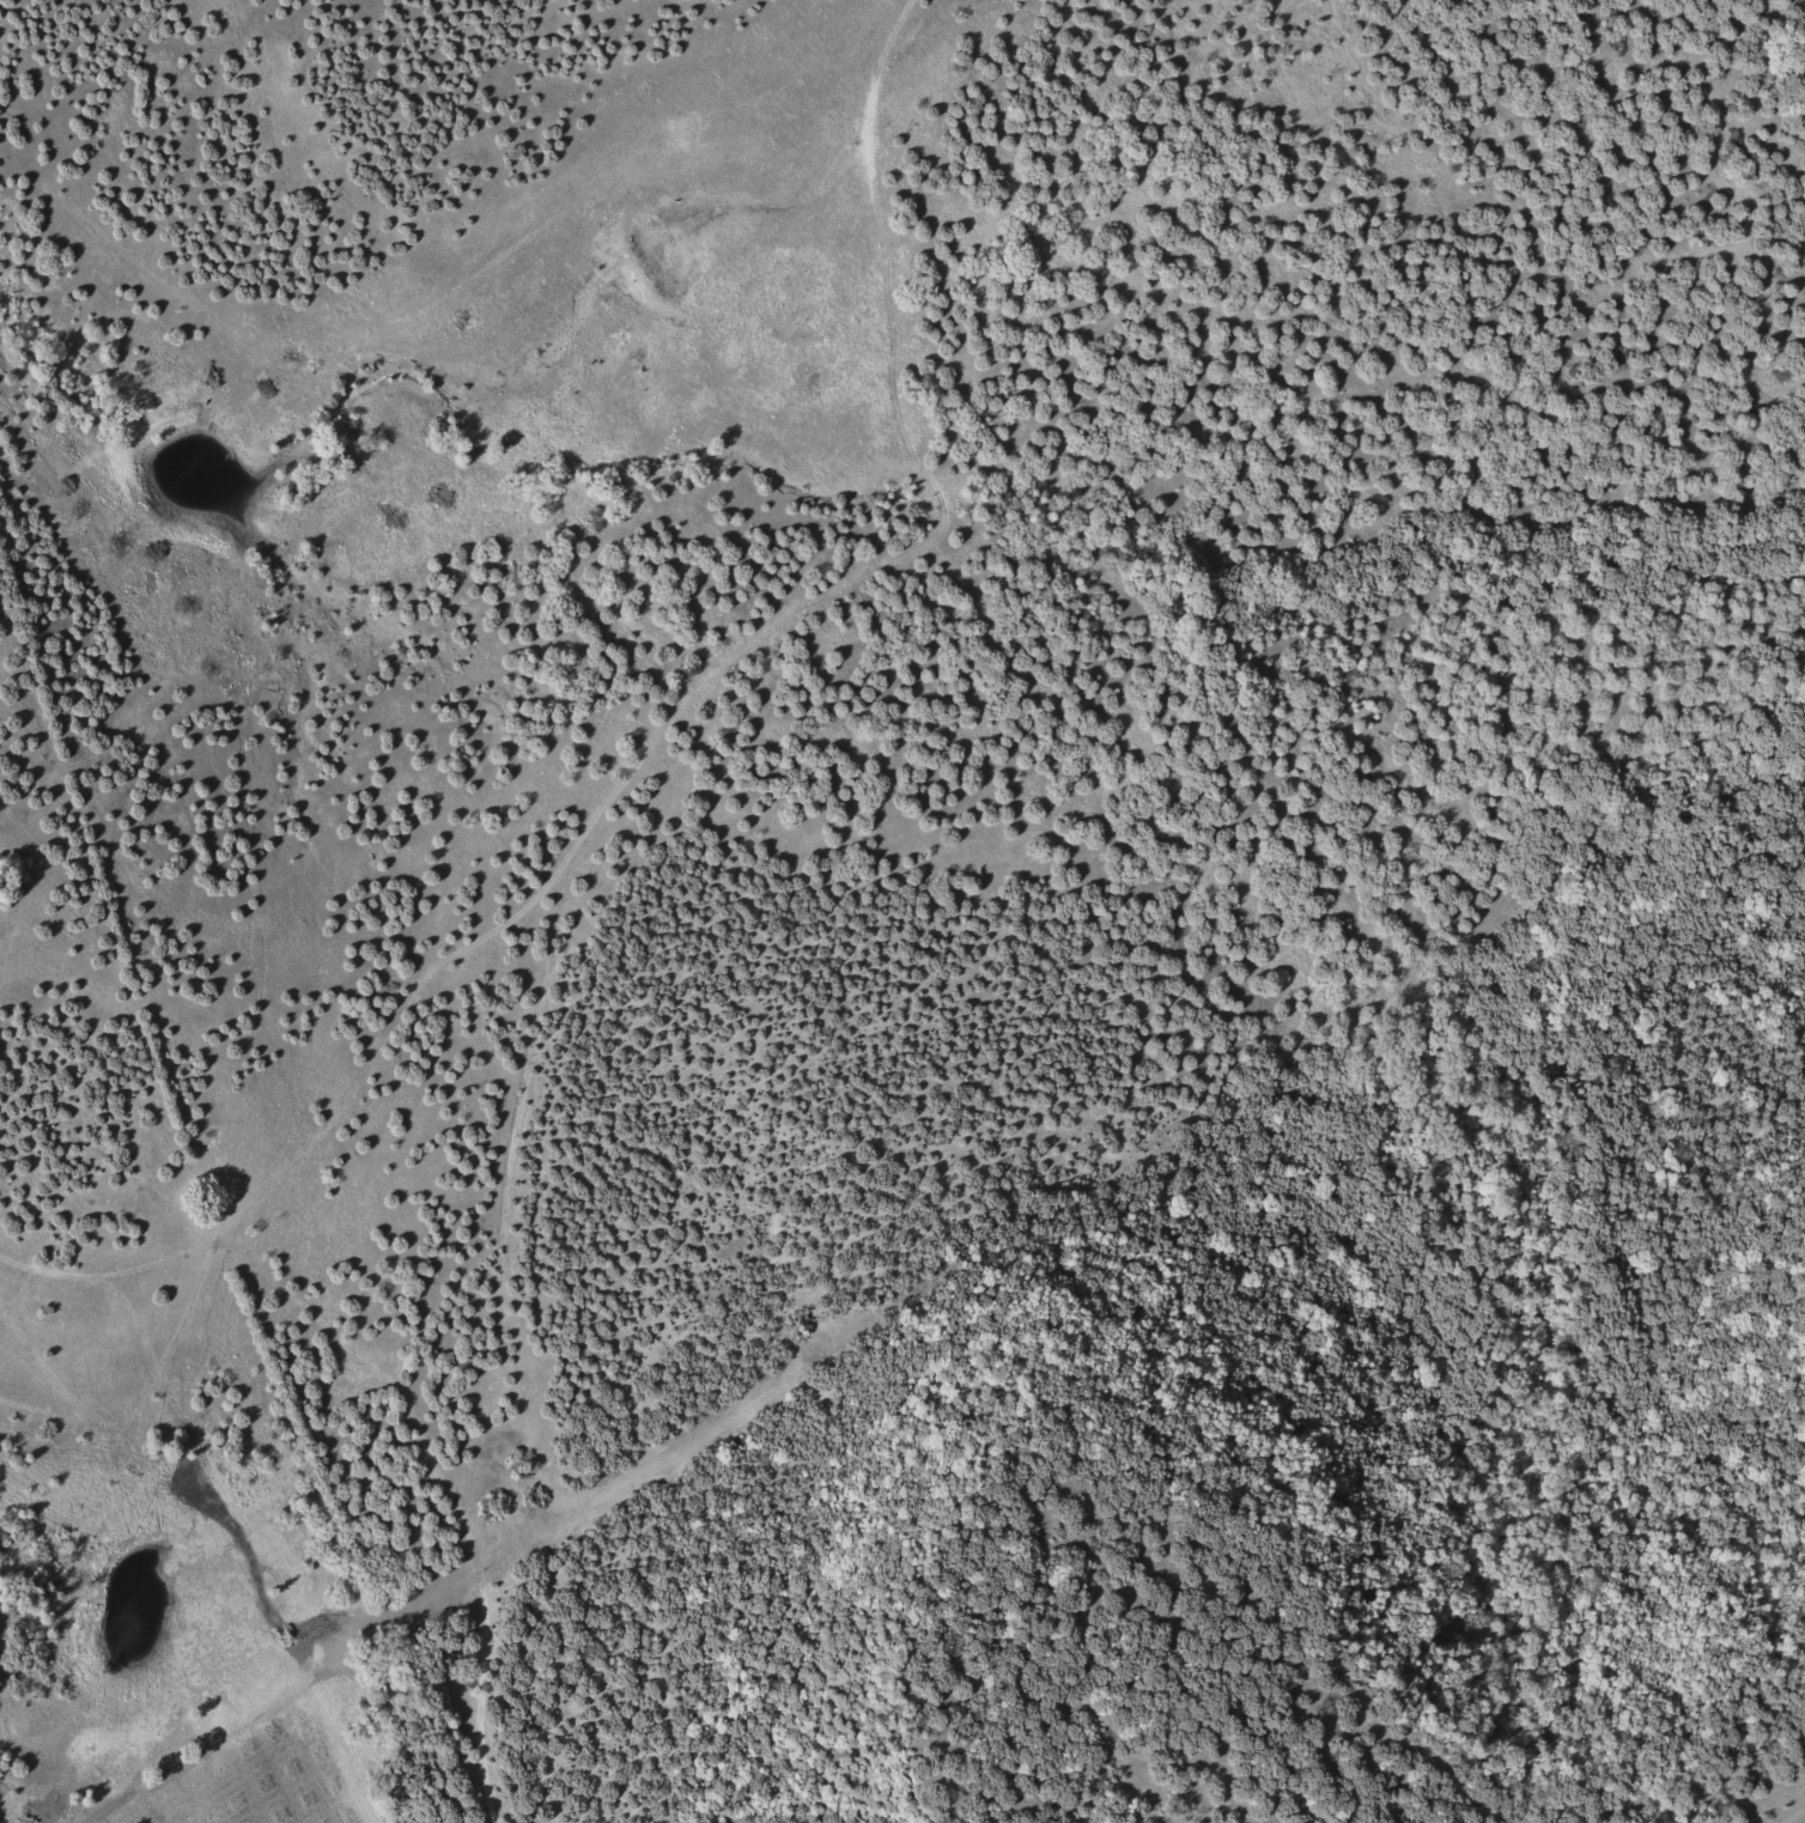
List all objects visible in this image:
road: (642, 818)
road: (449, 1380)

